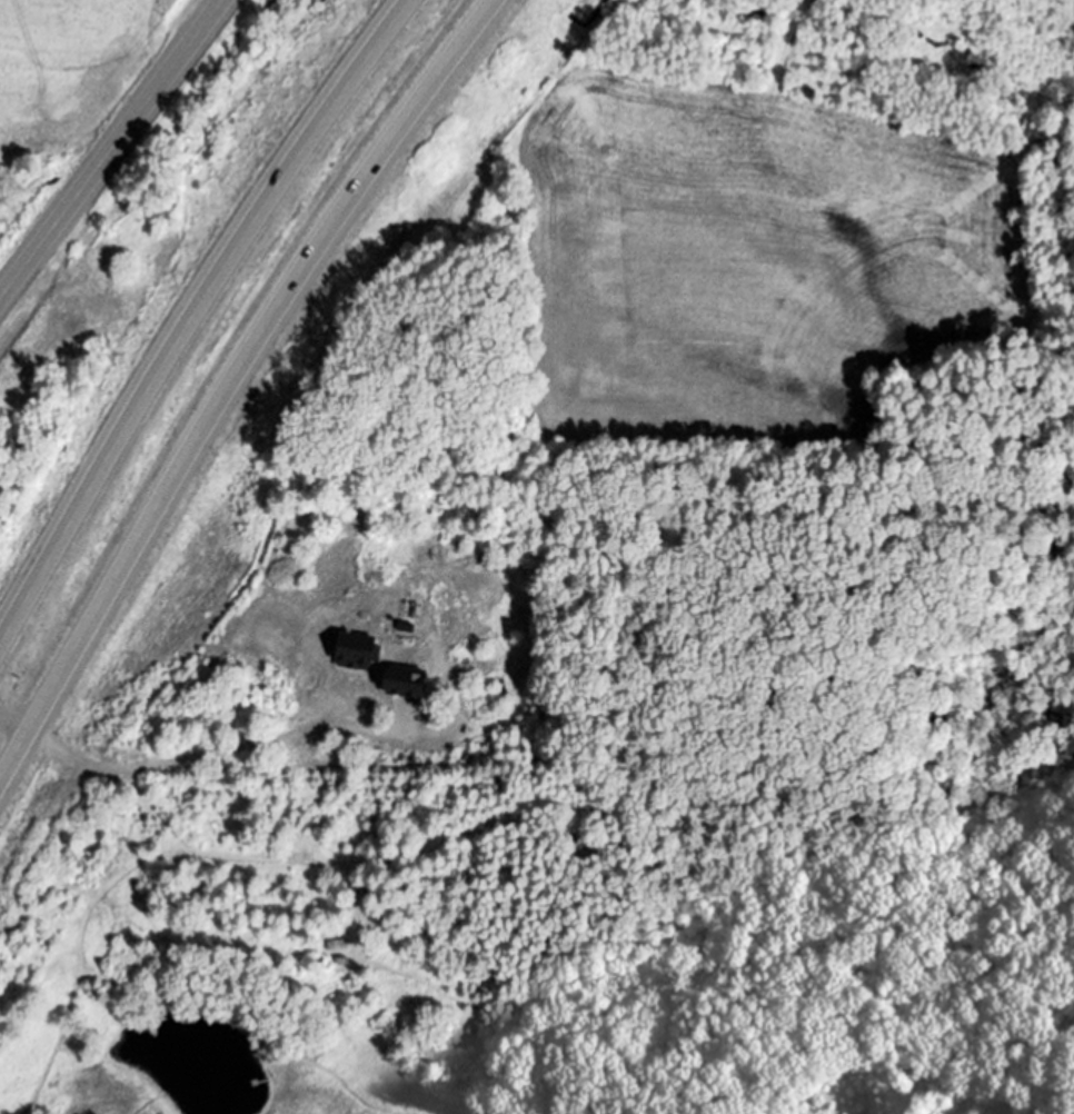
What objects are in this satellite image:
road: (112, 151)
road: (193, 318)
road: (237, 382)
building: (357, 649)
building: (408, 679)
road: (16, 716)
road: (219, 742)

